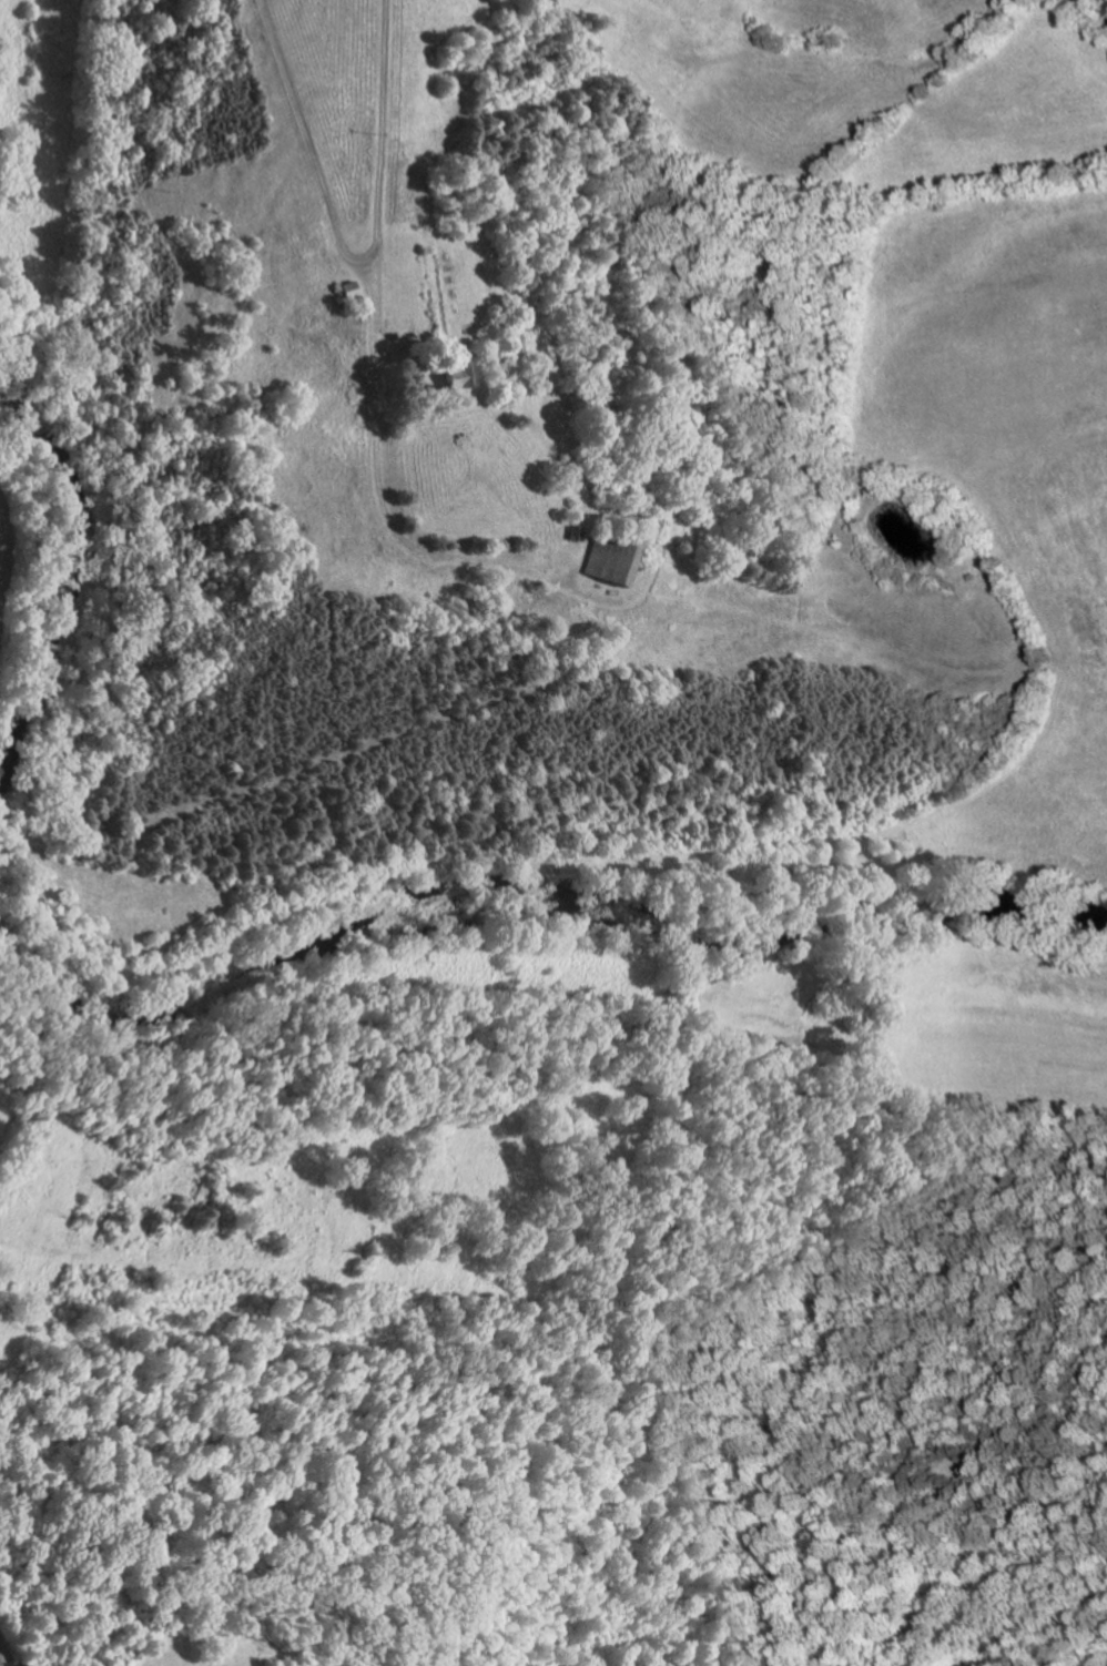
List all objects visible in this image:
road: (354, 260)
building: (352, 289)
building: (358, 301)
building: (458, 375)
building: (431, 397)
building: (576, 473)
road: (377, 485)
building: (573, 531)
building: (681, 540)
building: (610, 557)

